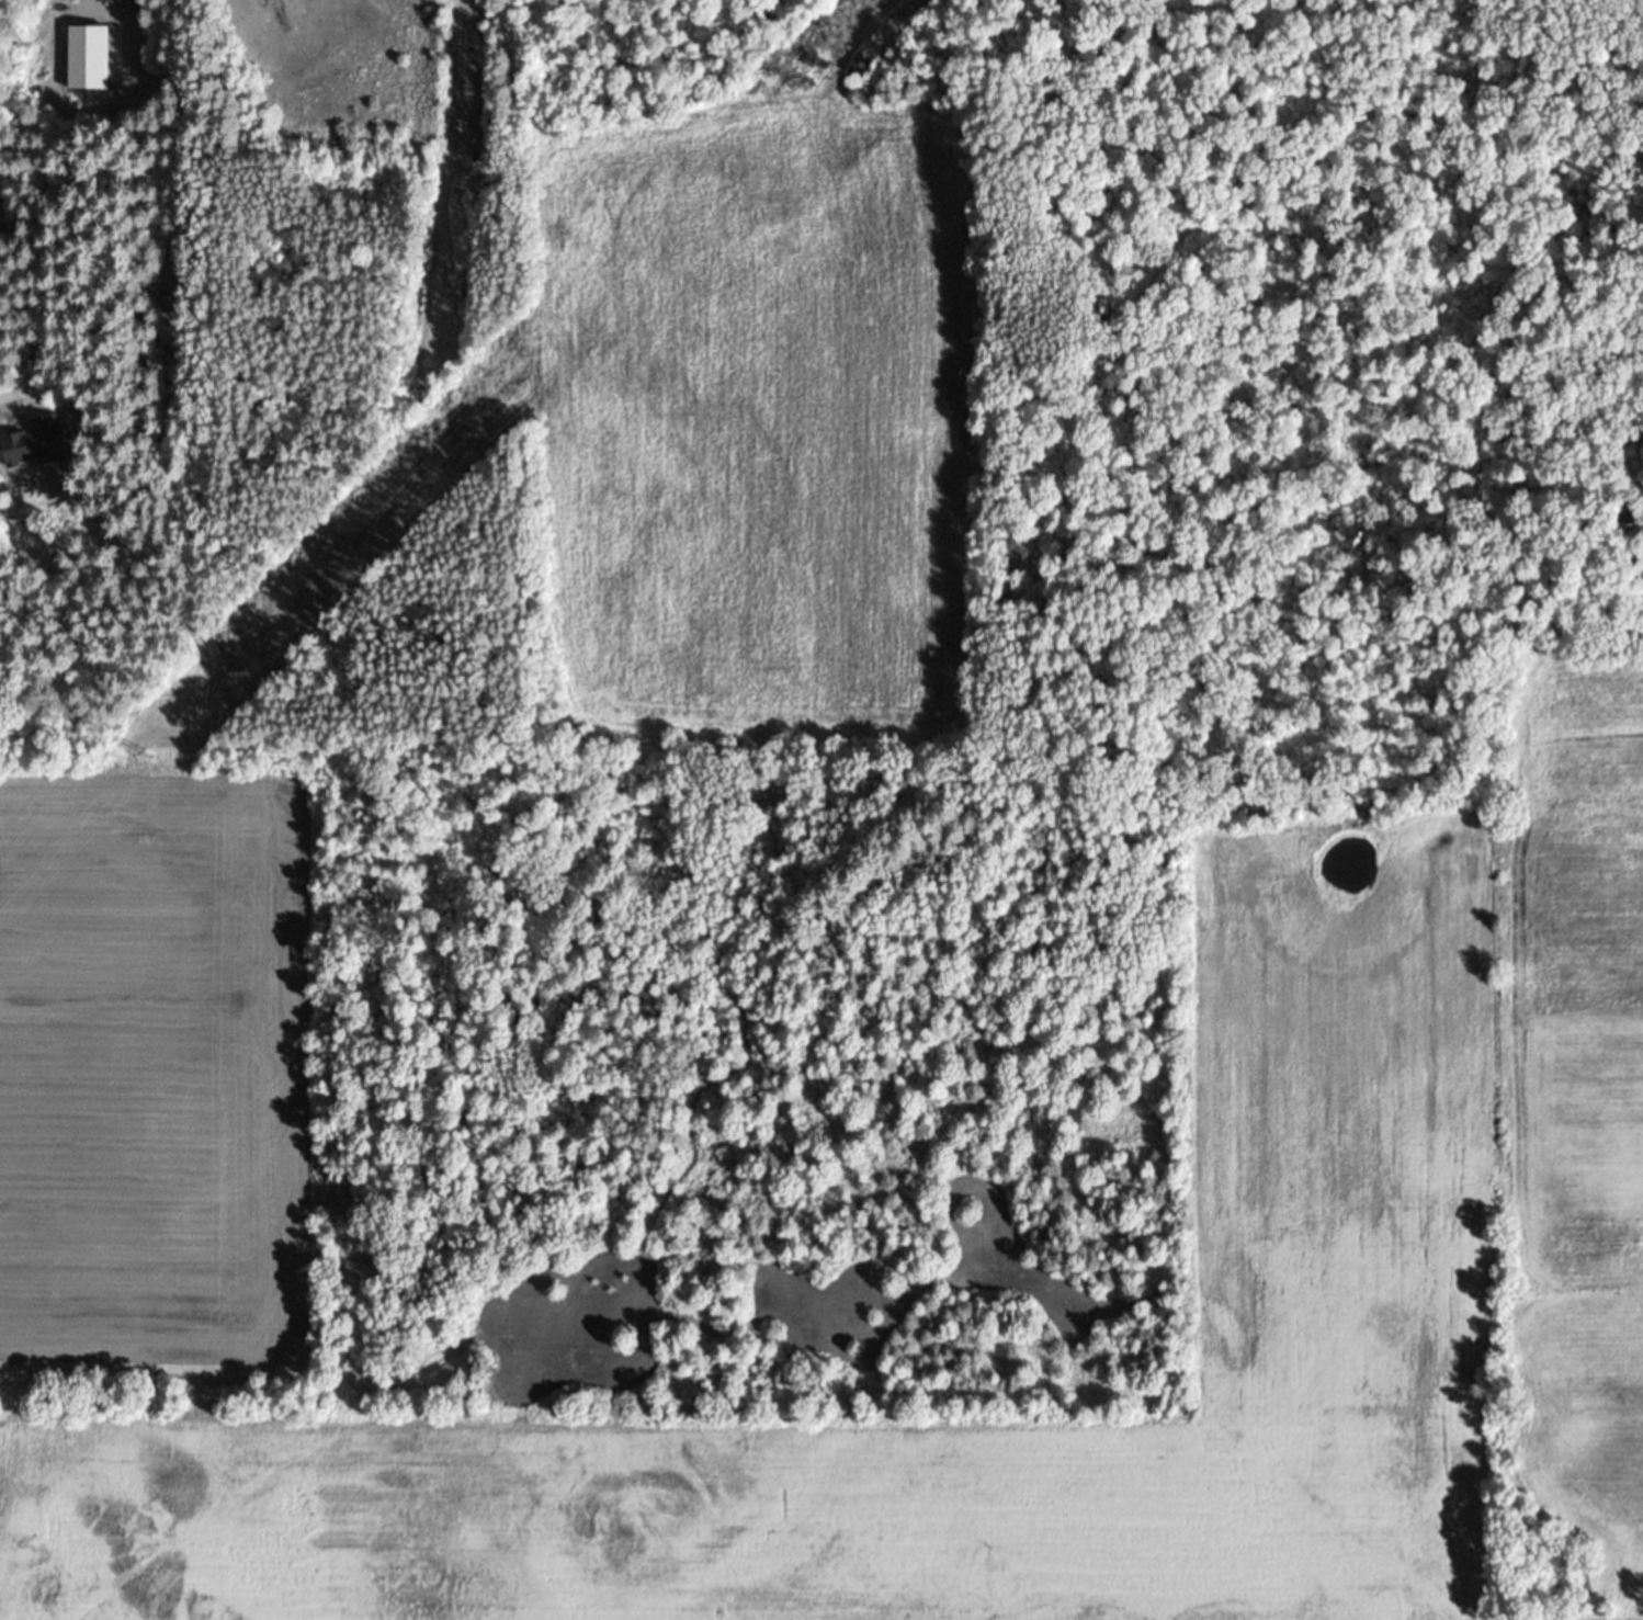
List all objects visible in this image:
building: (94, 63)
power tower: (806, 91)
power tower: (455, 445)
power tower: (151, 760)

